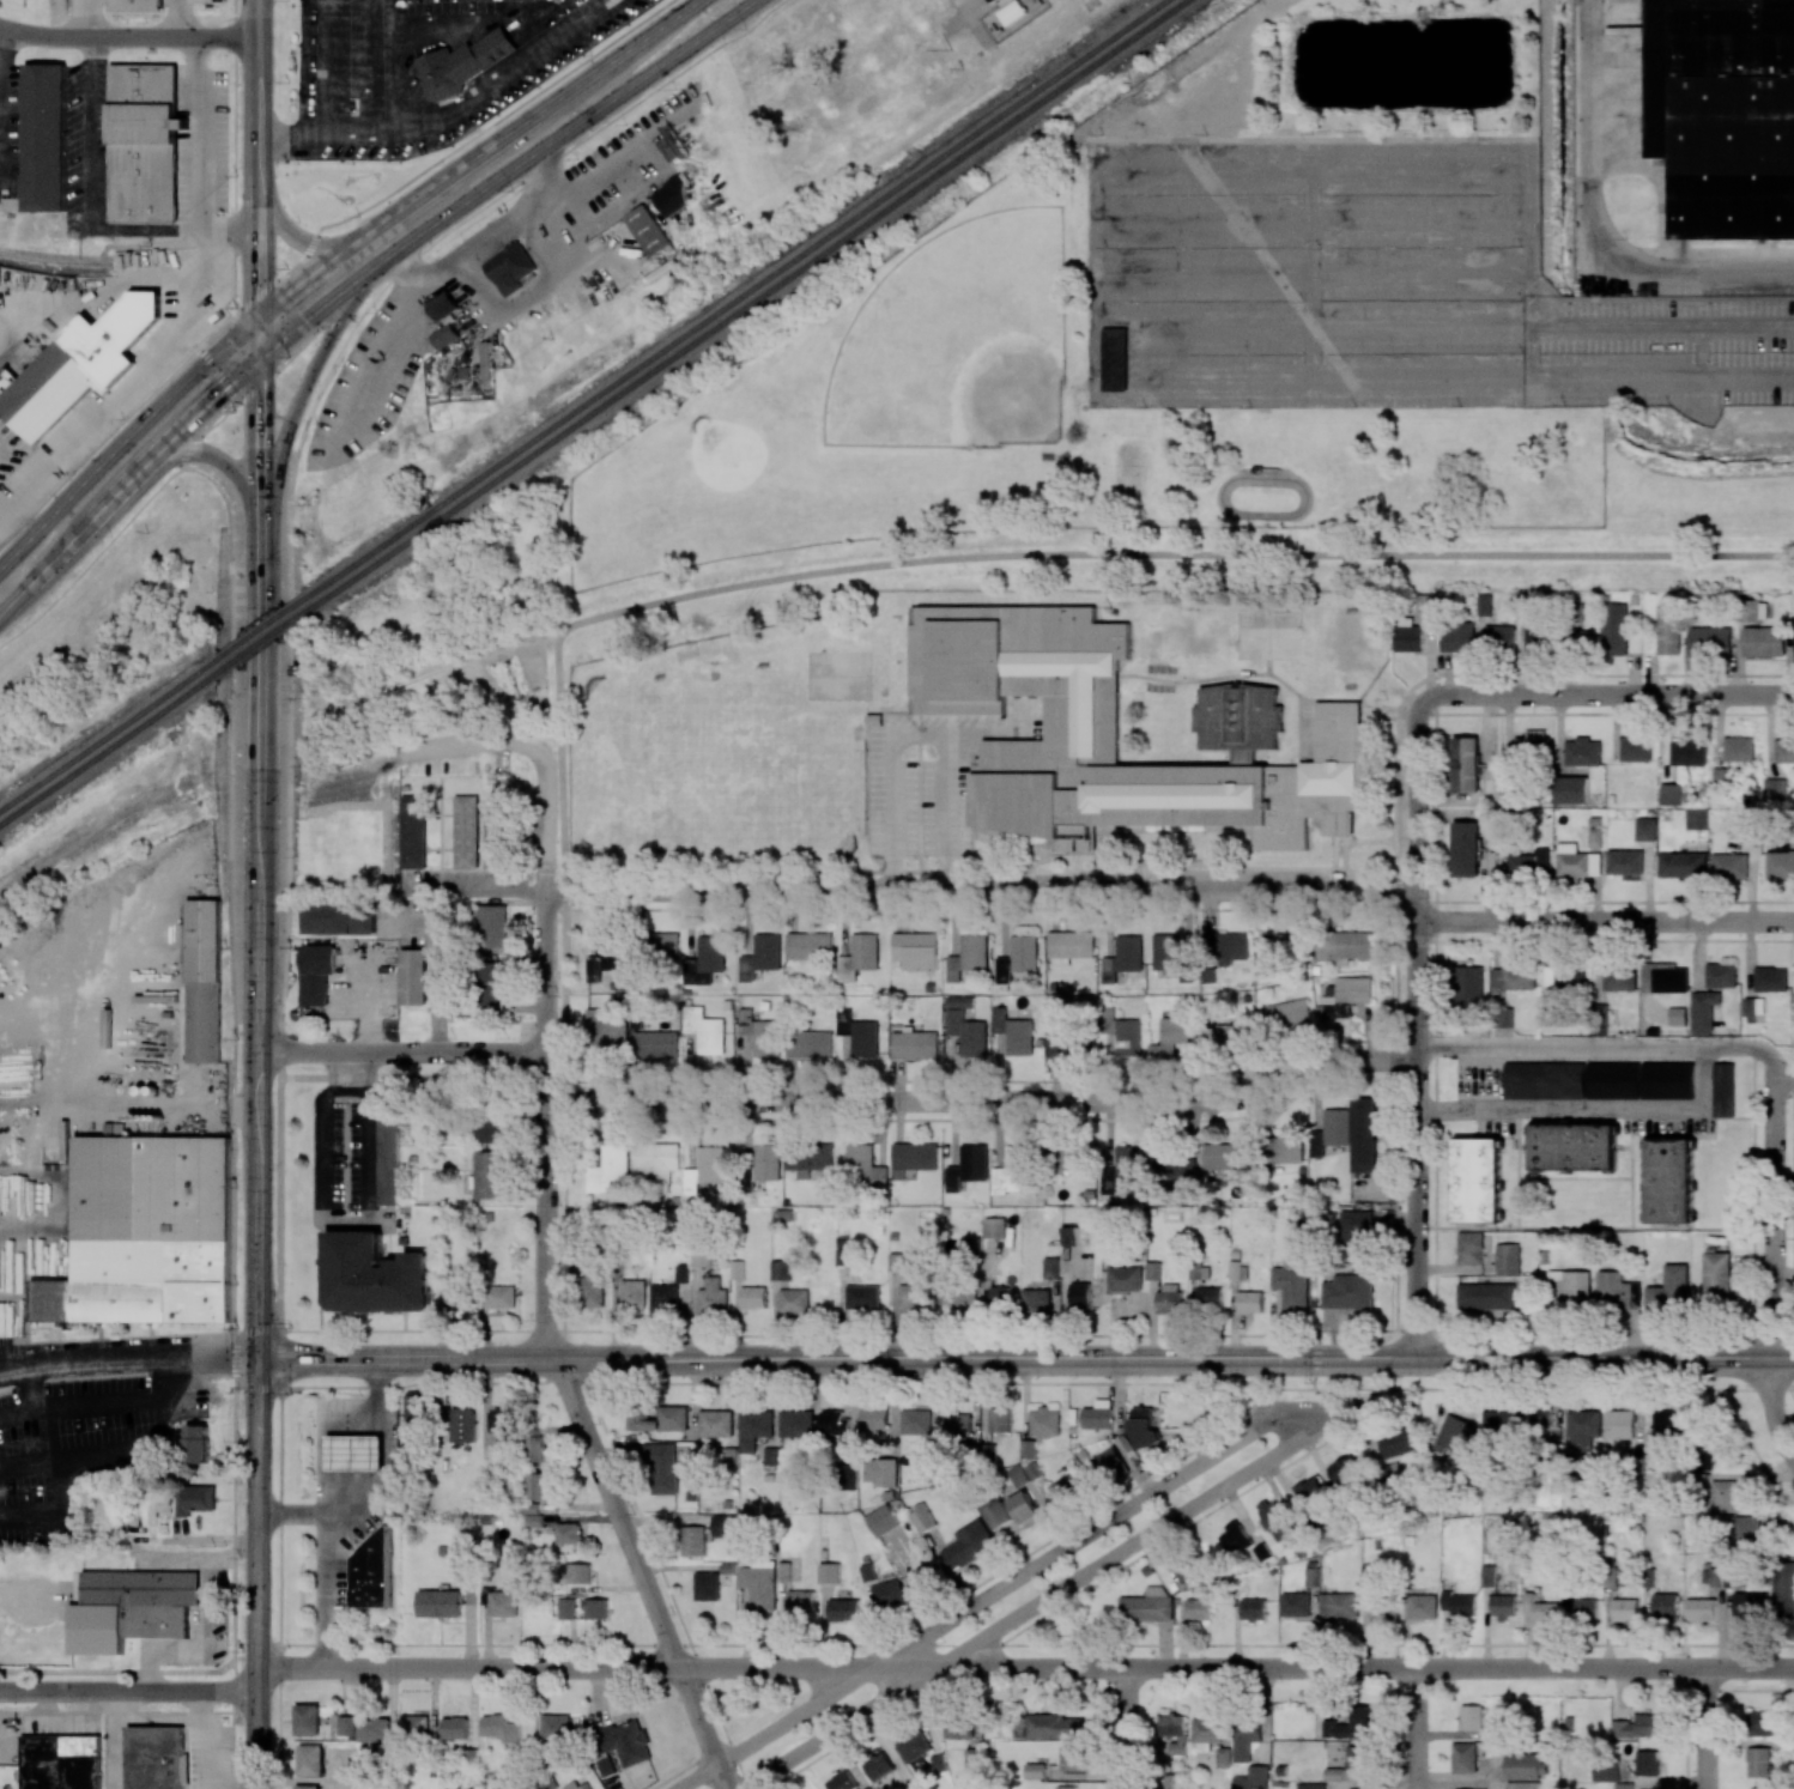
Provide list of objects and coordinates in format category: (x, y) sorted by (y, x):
building: (996, 1)
building: (1013, 13)
road: (975, 23)
road: (128, 37)
road: (394, 63)
road: (257, 66)
building: (449, 72)
road: (454, 114)
road: (574, 126)
road: (195, 134)
building: (47, 140)
building: (143, 142)
road: (259, 146)
road: (234, 153)
road: (479, 154)
road: (92, 184)
building: (672, 196)
road: (1595, 220)
building: (646, 230)
road: (240, 232)
road: (260, 236)
road: (295, 237)
road: (497, 241)
road: (311, 243)
building: (509, 268)
road: (99, 289)
railway: (734, 298)
railway: (745, 304)
building: (441, 305)
traffic signals: (261, 315)
road: (260, 335)
building: (444, 335)
traffic signals: (260, 356)
road: (1531, 357)
building: (1114, 358)
building: (79, 364)
road: (218, 374)
road: (259, 382)
road: (131, 383)
road: (298, 395)
road: (1765, 419)
road: (186, 423)
road: (305, 424)
road: (126, 437)
road: (260, 457)
road: (234, 467)
road: (1180, 553)
building: (1485, 605)
building: (1753, 610)
road: (260, 615)
building: (1614, 629)
railway: (260, 630)
building: (1668, 630)
park: (1266, 633)
building: (1457, 637)
building: (1499, 637)
building: (1410, 638)
building: (1537, 638)
building: (1583, 641)
building: (1709, 641)
building: (1764, 641)
railway: (261, 642)
road: (1607, 695)
road: (919, 730)
building: (1236, 730)
railway: (107, 734)
road: (453, 742)
building: (1532, 742)
railway: (109, 748)
building: (1635, 748)
building: (1738, 748)
building: (1784, 750)
building: (1582, 752)
building: (1687, 752)
road: (231, 758)
building: (1466, 764)
building: (1774, 789)
building: (1570, 790)
building: (1669, 794)
building: (1644, 829)
building: (414, 830)
building: (497, 830)
building: (467, 831)
building: (1594, 837)
building: (1466, 849)
building: (1576, 861)
building: (1624, 861)
building: (1780, 861)
building: (1528, 863)
building: (1681, 865)
building: (1728, 866)
road: (480, 890)
road: (980, 891)
building: (341, 918)
road: (1605, 922)
building: (493, 924)
building: (1280, 945)
building: (660, 946)
building: (808, 946)
building: (1069, 946)
building: (1344, 946)
building: (915, 950)
building: (1222, 952)
building: (1172, 953)
building: (760, 956)
building: (859, 956)
building: (968, 957)
building: (1018, 958)
building: (1122, 959)
building: (704, 960)
building: (607, 964)
building: (315, 972)
building: (416, 975)
building: (1720, 975)
building: (1514, 977)
building: (1564, 977)
building: (1619, 978)
building: (1663, 978)
building: (1770, 980)
building: (204, 981)
building: (492, 982)
building: (1469, 987)
building: (1346, 995)
building: (1754, 1009)
building: (1702, 1012)
road: (257, 1014)
building: (1286, 1014)
building: (1677, 1015)
building: (1599, 1019)
building: (965, 1026)
road: (1417, 1029)
building: (704, 1030)
building: (1121, 1031)
building: (1013, 1032)
building: (760, 1033)
building: (859, 1033)
building: (1222, 1033)
building: (1172, 1036)
building: (605, 1041)
building: (810, 1043)
building: (655, 1044)
building: (915, 1044)
building: (1061, 1045)
road: (1604, 1047)
road: (400, 1051)
road: (545, 1057)
road: (510, 1073)
road: (1782, 1075)
building: (1540, 1080)
building: (1613, 1080)
building: (1668, 1080)
building: (1723, 1090)
road: (99, 1099)
road: (983, 1100)
road: (1594, 1114)
building: (490, 1130)
building: (1329, 1132)
building: (1365, 1135)
building: (1574, 1146)
building: (1286, 1148)
building: (1065, 1153)
building: (1224, 1156)
building: (913, 1158)
building: (808, 1159)
building: (387, 1160)
building: (654, 1162)
building: (766, 1162)
building: (968, 1166)
building: (607, 1168)
building: (863, 1168)
building: (1177, 1168)
building: (704, 1169)
building: (1123, 1171)
building: (1010, 1172)
building: (487, 1175)
building: (746, 1178)
building: (1478, 1179)
building: (1671, 1181)
road: (1771, 1217)
road: (344, 1218)
building: (994, 1227)
building: (146, 1233)
building: (1356, 1233)
building: (969, 1244)
building: (1469, 1248)
building: (701, 1256)
building: (1507, 1259)
building: (901, 1261)
building: (1050, 1267)
building: (737, 1269)
building: (780, 1269)
building: (1238, 1269)
building: (1152, 1271)
building: (1199, 1271)
building: (681, 1273)
building: (375, 1275)
building: (1716, 1278)
building: (1125, 1279)
building: (592, 1286)
building: (1292, 1286)
building: (1571, 1288)
building: (1669, 1288)
building: (1347, 1291)
building: (1616, 1291)
building: (631, 1293)
building: (1080, 1294)
building: (663, 1296)
building: (916, 1296)
building: (959, 1296)
building: (1486, 1296)
building: (455, 1297)
building: (501, 1297)
building: (711, 1297)
building: (752, 1297)
building: (862, 1297)
building: (999, 1297)
building: (1210, 1297)
building: (1169, 1298)
building: (793, 1300)
building: (1036, 1300)
building: (1250, 1302)
road: (1026, 1357)
traffic signals: (259, 1358)
road: (128, 1359)
road: (37, 1389)
road: (376, 1396)
road: (121, 1403)
building: (413, 1407)
road: (1772, 1409)
building: (1097, 1414)
road: (20, 1415)
building: (1538, 1417)
building: (874, 1418)
building: (661, 1419)
building: (999, 1419)
building: (501, 1420)
building: (915, 1421)
building: (1044, 1421)
building: (834, 1423)
building: (1669, 1423)
building: (716, 1424)
building: (795, 1424)
building: (462, 1425)
building: (958, 1425)
building: (1499, 1425)
building: (1145, 1427)
building: (753, 1429)
building: (1619, 1429)
building: (1582, 1430)
building: (1454, 1433)
building: (196, 1443)
building: (533, 1443)
building: (1396, 1443)
building: (1026, 1448)
building: (987, 1451)
building: (356, 1454)
road: (374, 1454)
building: (729, 1456)
building: (770, 1456)
building: (1701, 1460)
building: (1109, 1462)
building: (661, 1467)
building: (1344, 1469)
building: (1032, 1470)
building: (849, 1475)
building: (1018, 1475)
building: (537, 1486)
road: (49, 1487)
building: (1065, 1488)
building: (1308, 1490)
building: (1723, 1497)
building: (195, 1499)
building: (529, 1508)
building: (1024, 1509)
building: (995, 1514)
building: (1271, 1514)
road: (337, 1517)
building: (922, 1517)
building: (881, 1520)
building: (535, 1521)
building: (725, 1526)
building: (1746, 1530)
building: (568, 1533)
building: (1234, 1538)
building: (692, 1540)
building: (969, 1545)
road: (637, 1561)
road: (256, 1572)
building: (829, 1572)
building: (372, 1573)
building: (576, 1573)
building: (1311, 1573)
building: (1489, 1575)
building: (923, 1577)
building: (759, 1584)
building: (707, 1585)
building: (1783, 1589)
road: (993, 1591)
road: (331, 1593)
building: (889, 1594)
road: (234, 1601)
building: (800, 1601)
building: (1459, 1603)
building: (1665, 1603)
building: (441, 1605)
building: (504, 1605)
building: (1296, 1605)
building: (1339, 1605)
building: (1146, 1606)
building: (1503, 1606)
building: (1751, 1606)
building: (1422, 1607)
building: (595, 1608)
road: (1029, 1608)
building: (1382, 1608)
building: (1540, 1608)
building: (568, 1609)
building: (843, 1609)
building: (1198, 1609)
building: (1253, 1609)
building: (1584, 1609)
building: (1625, 1609)
building: (1701, 1609)
building: (99, 1631)
road: (596, 1668)
road: (1365, 1668)
road: (128, 1690)
building: (1472, 1717)
building: (307, 1720)
building: (1764, 1723)
building: (1347, 1724)
building: (346, 1726)
building: (414, 1726)
building: (1638, 1726)
building: (454, 1727)
building: (556, 1727)
building: (1048, 1727)
building: (501, 1728)
building: (958, 1728)
road: (1125, 1728)
road: (1414, 1728)
road: (1704, 1728)
building: (374, 1729)
building: (1174, 1733)
building: (1207, 1733)
building: (1244, 1739)
building: (622, 1745)
building: (913, 1746)
building: (154, 1757)
building: (1223, 1757)
building: (1357, 1757)
building: (1463, 1757)
building: (1071, 1758)
building: (310, 1760)
building: (60, 1761)
building: (1758, 1761)
building: (1647, 1763)
building: (878, 1765)
building: (1521, 1766)
building: (1034, 1770)
building: (1606, 1771)
building: (1333, 1773)
road: (721, 1777)
building: (1251, 1778)
building: (842, 1781)
building: (1172, 1781)
building: (576, 1785)
building: (1311, 1785)
building: (1522, 1785)
building: (1624, 1785)
building: (307, 1787)
building: (1066, 1787)
building: (1763, 1787)

